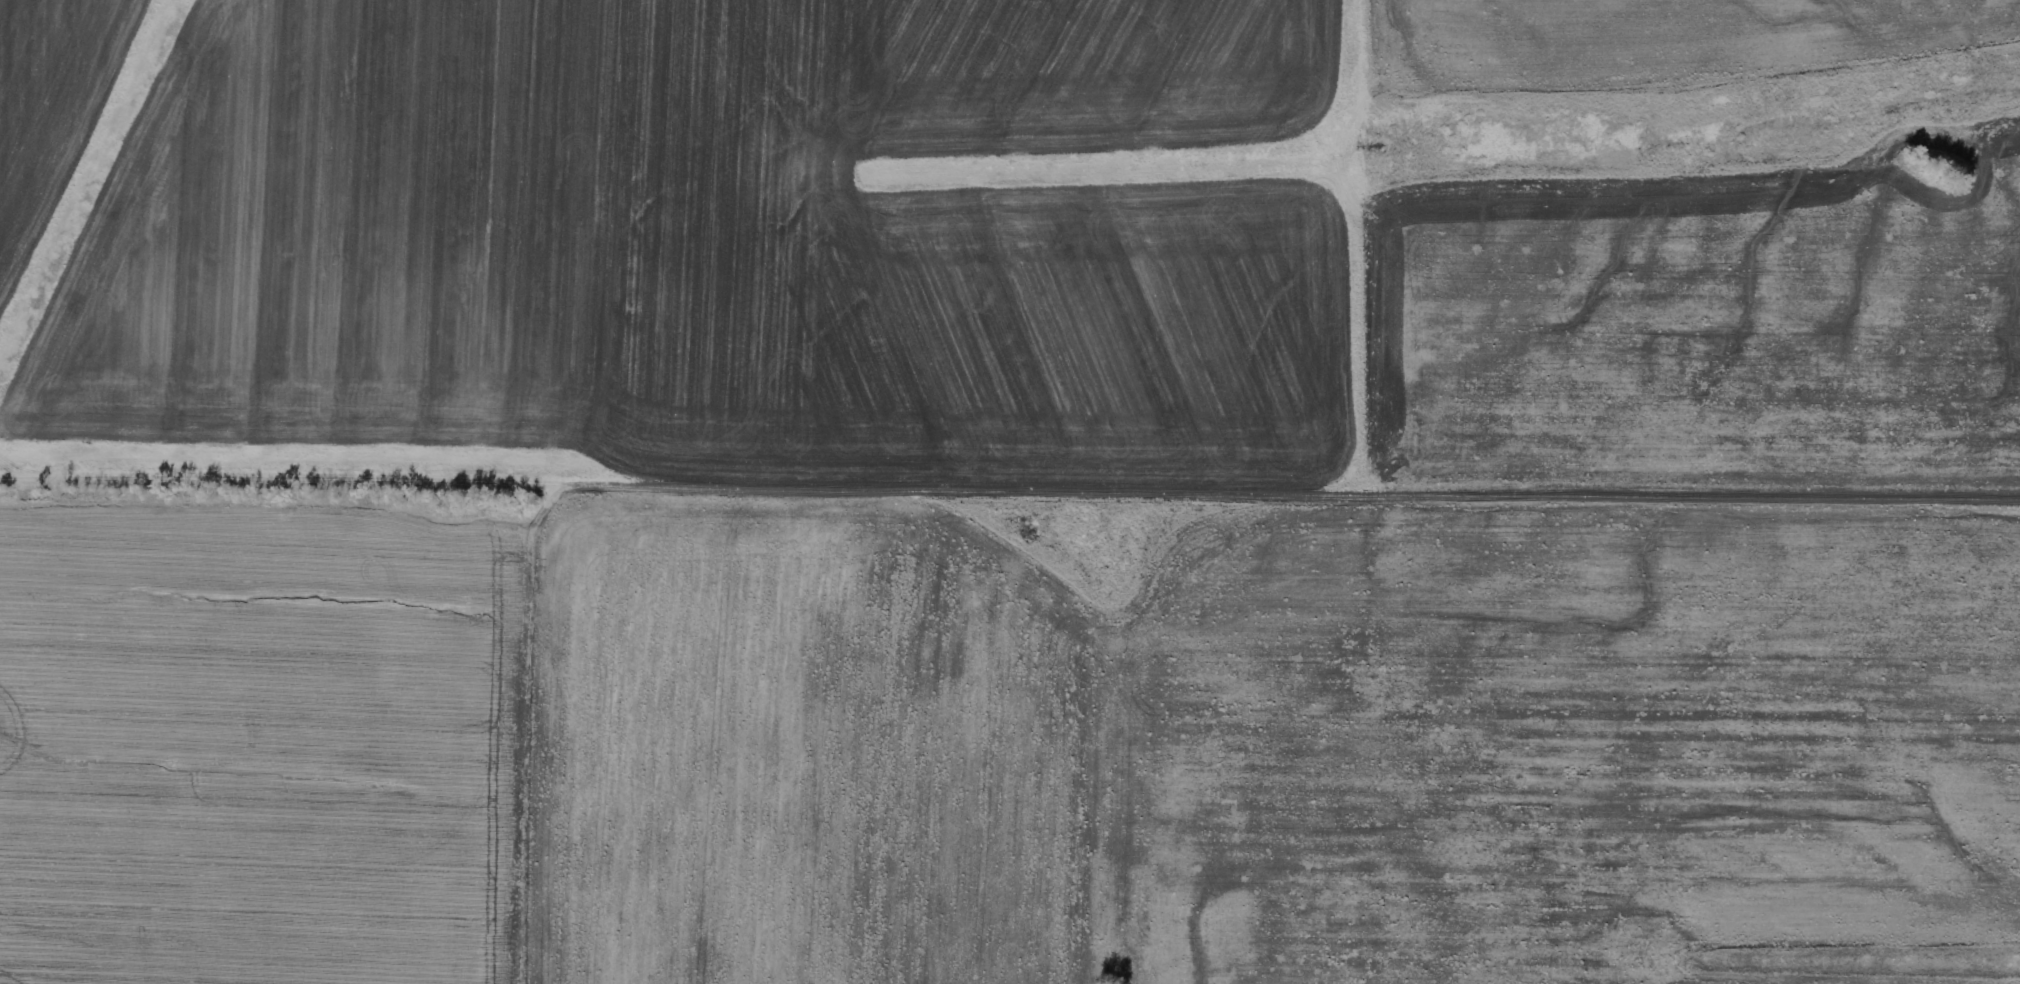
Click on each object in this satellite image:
road: (1009, 492)

